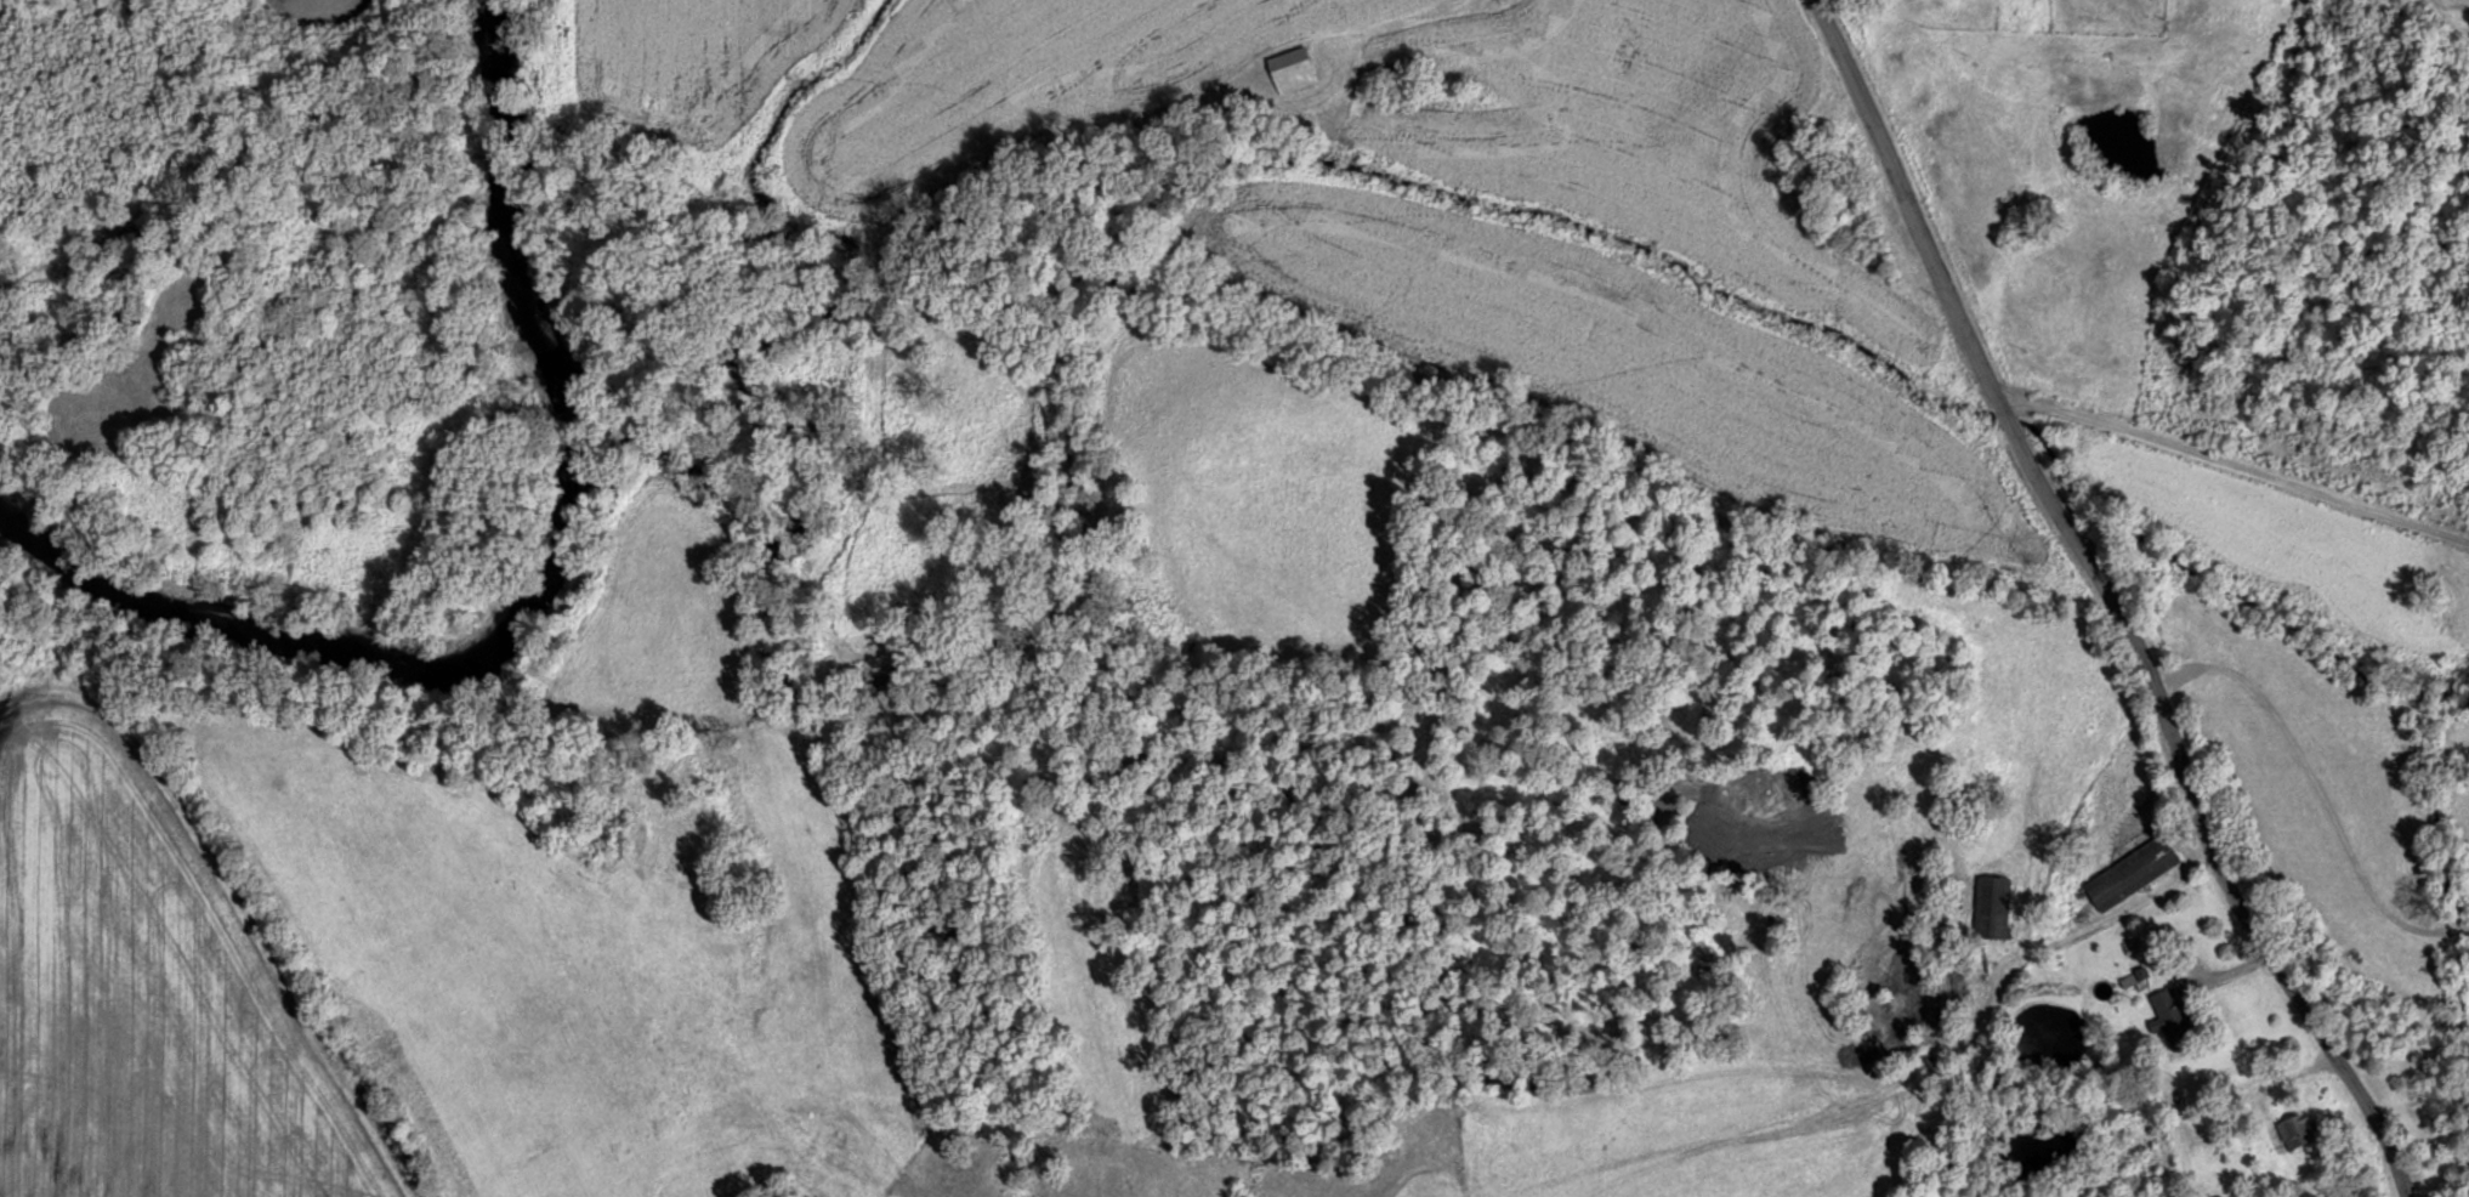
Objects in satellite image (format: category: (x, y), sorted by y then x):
building: (1289, 69)
road: (2229, 455)
river: (539, 595)
road: (2078, 608)
building: (2129, 873)
building: (1990, 907)
building: (2173, 1017)
building: (2196, 1093)
building: (2294, 1130)

